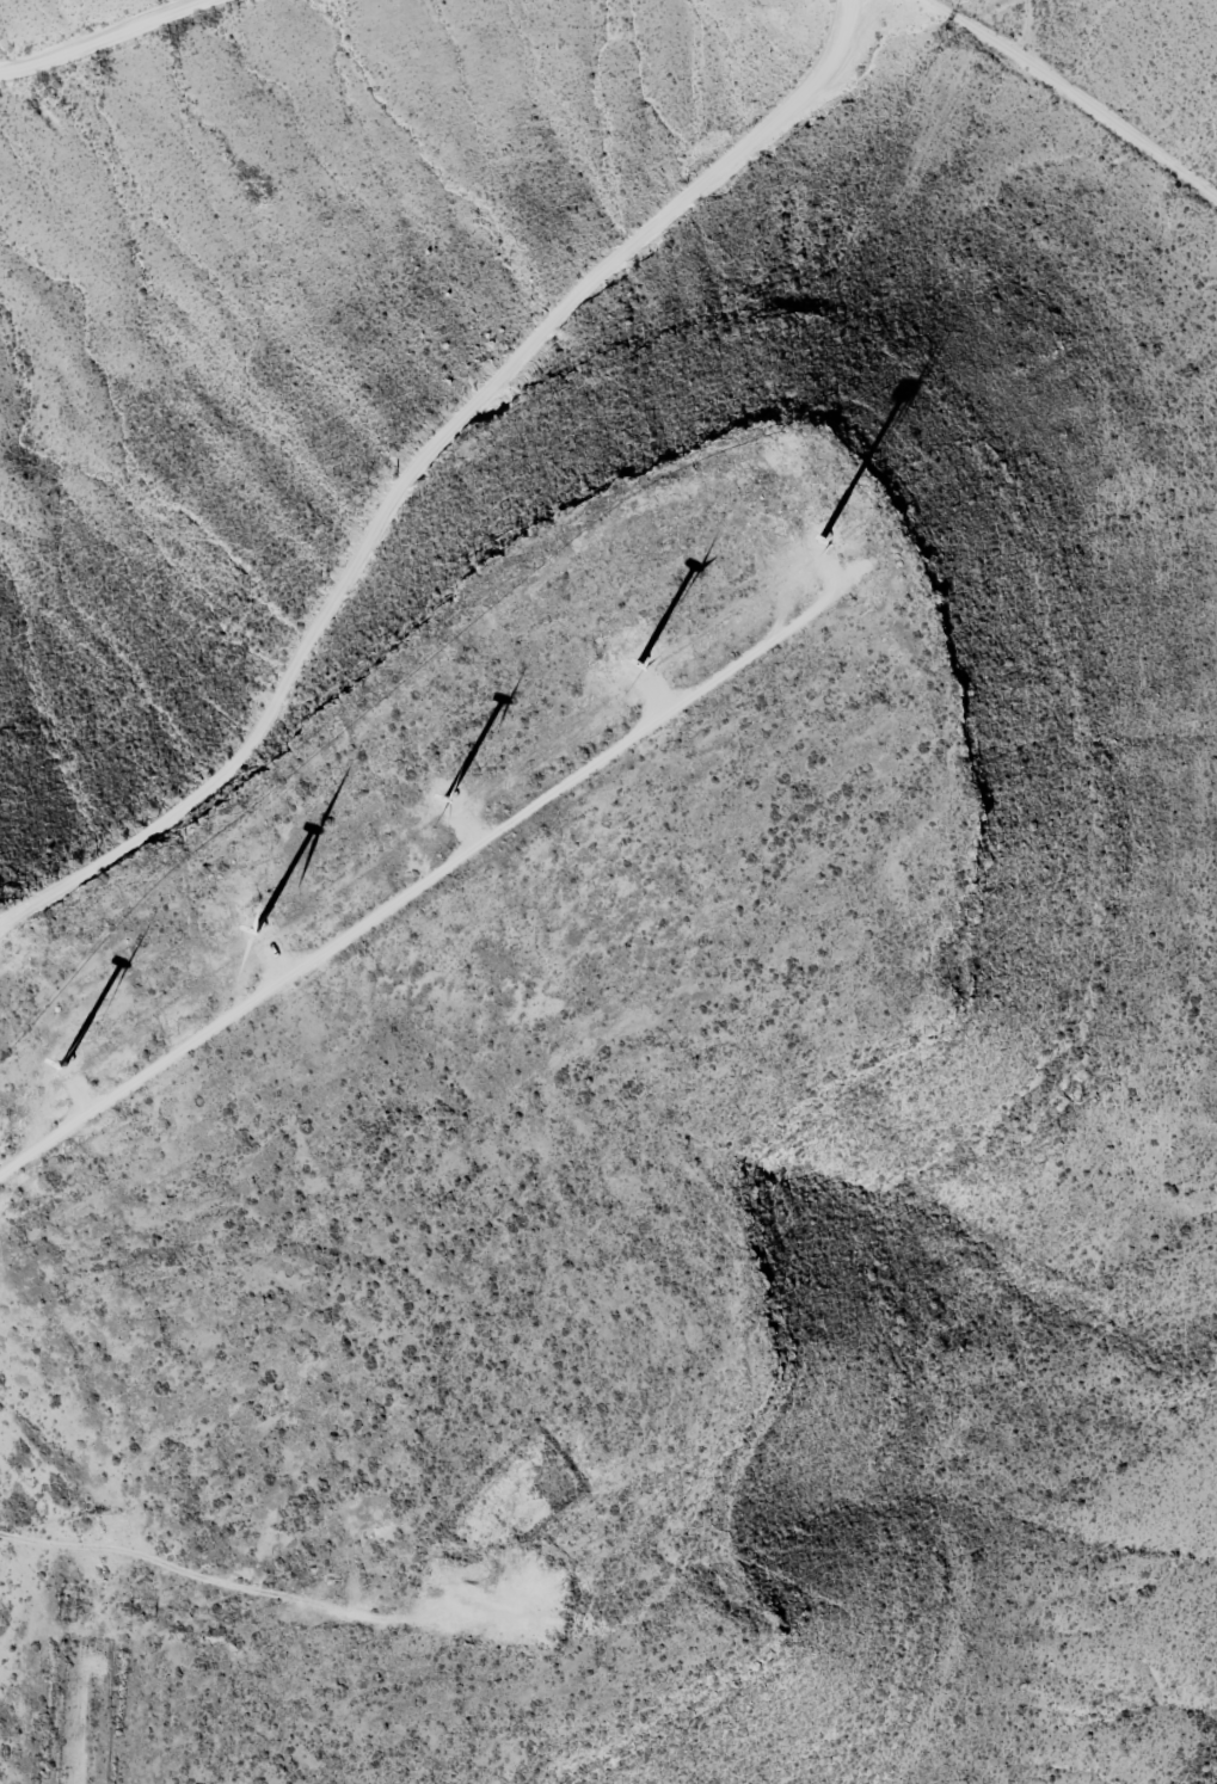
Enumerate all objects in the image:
road: (171, 63)
road: (435, 475)
wind turbine: (815, 535)
wind turbine: (647, 670)
wind turbine: (444, 806)
wind turbine: (263, 927)
wind turbine: (54, 1074)
road: (216, 1594)

